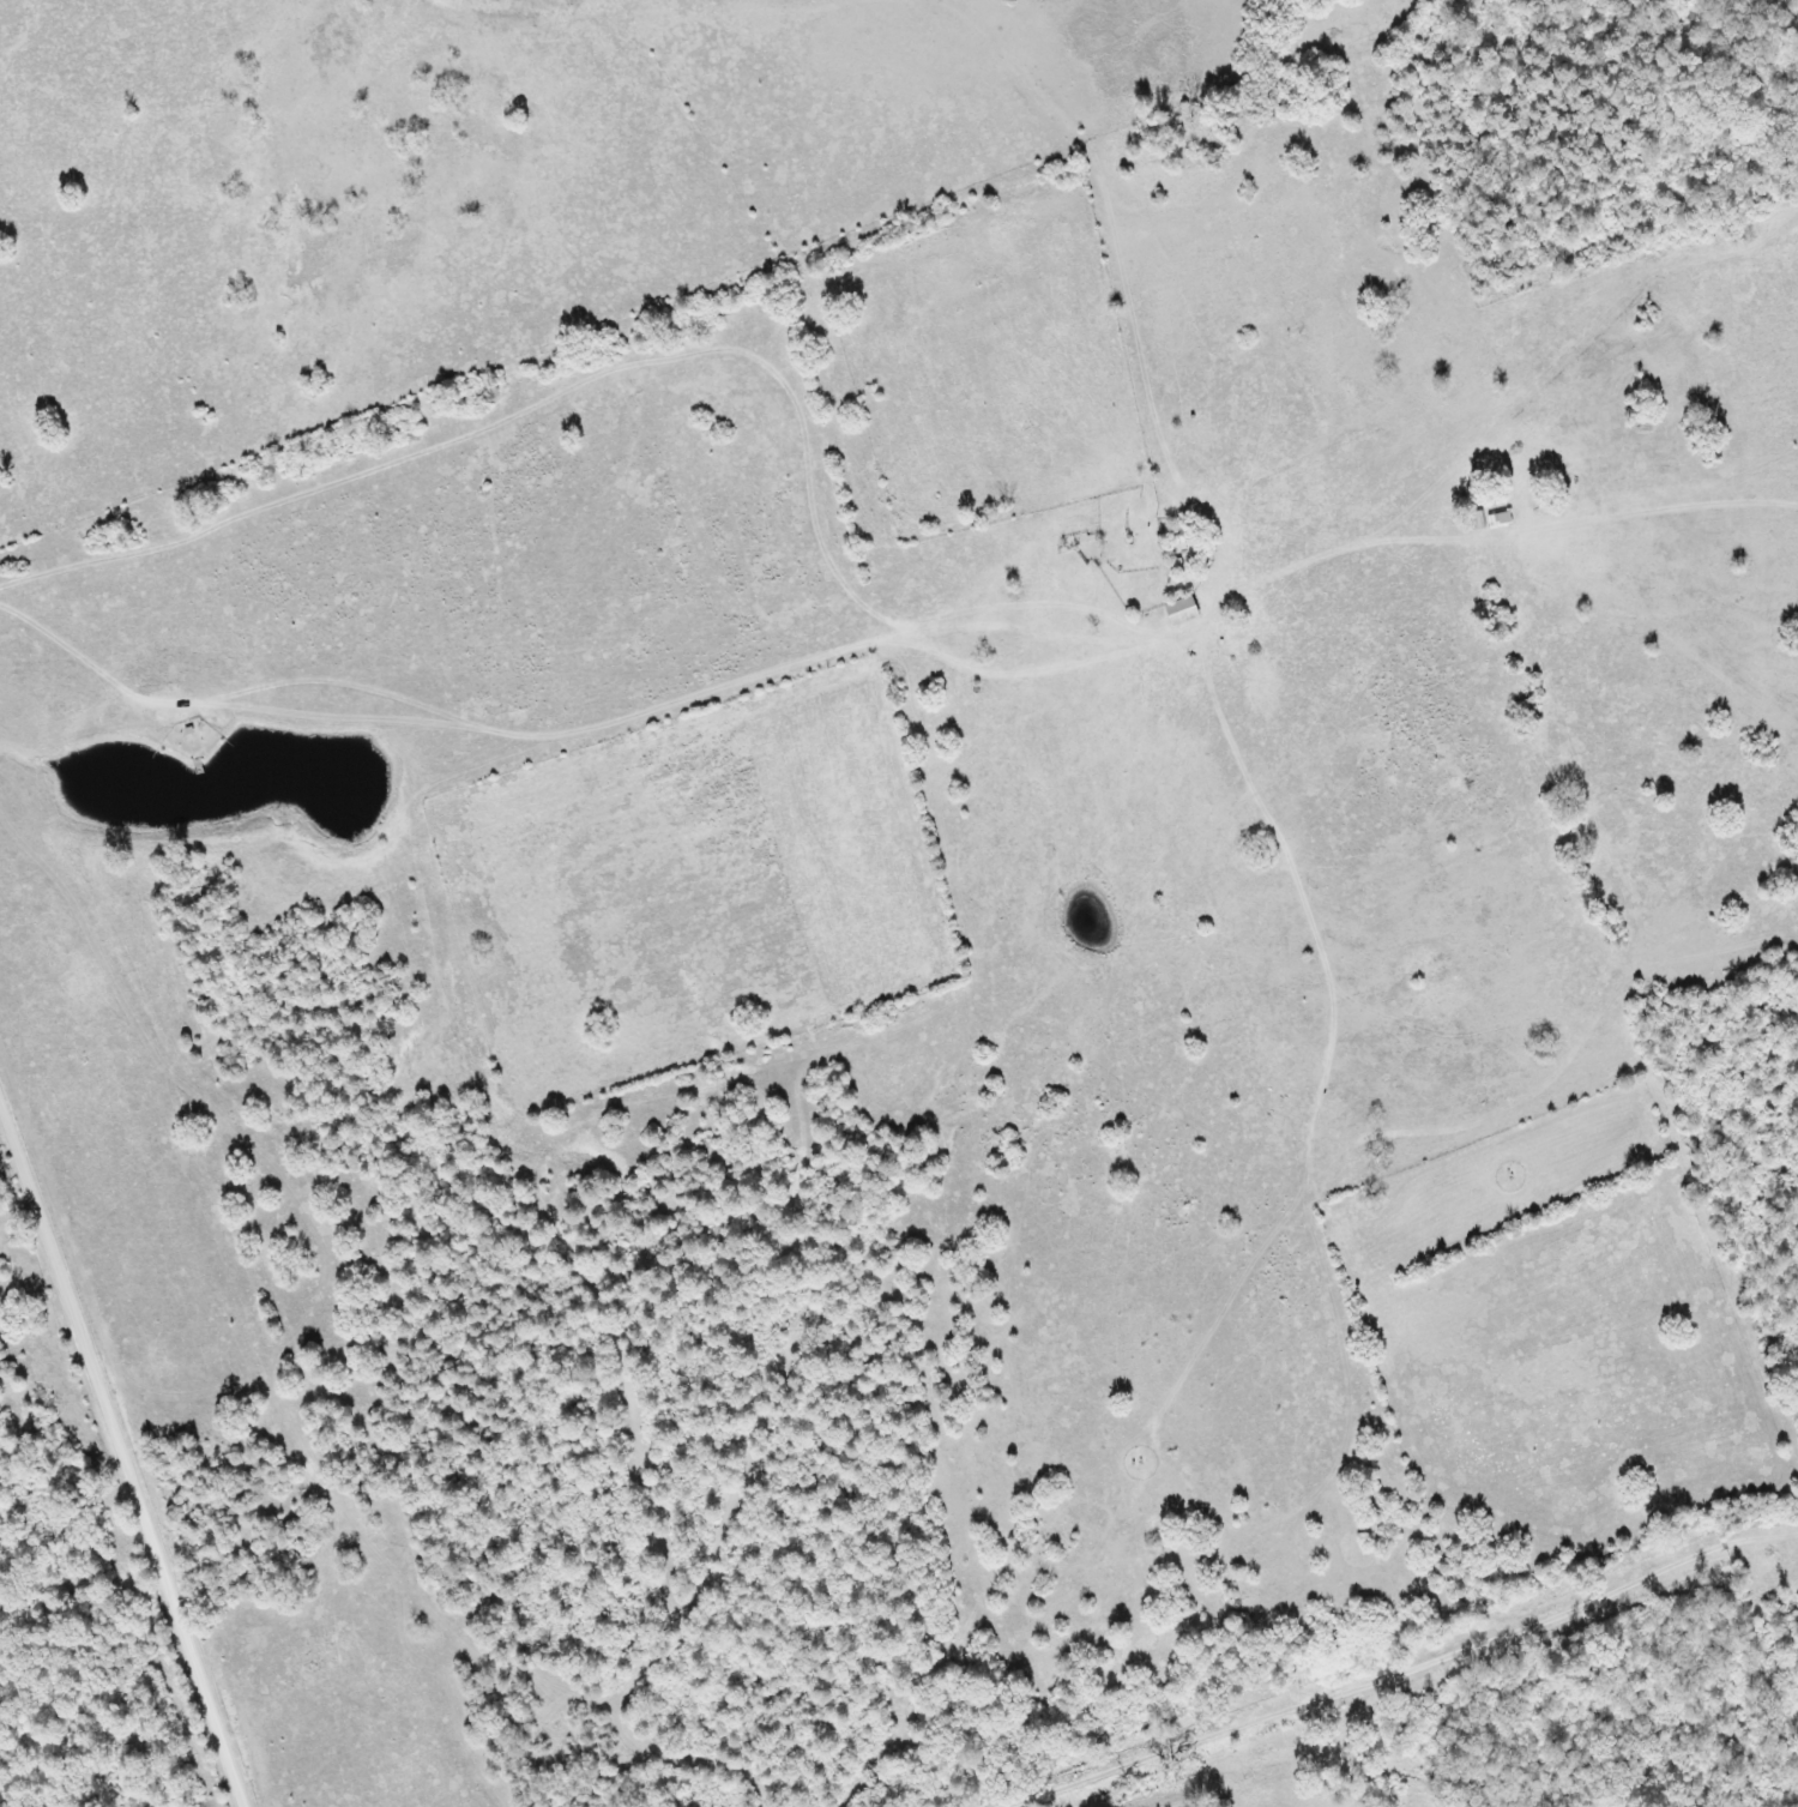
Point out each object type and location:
building: (1498, 519)
building: (1178, 535)
building: (1181, 610)
road: (123, 1446)

